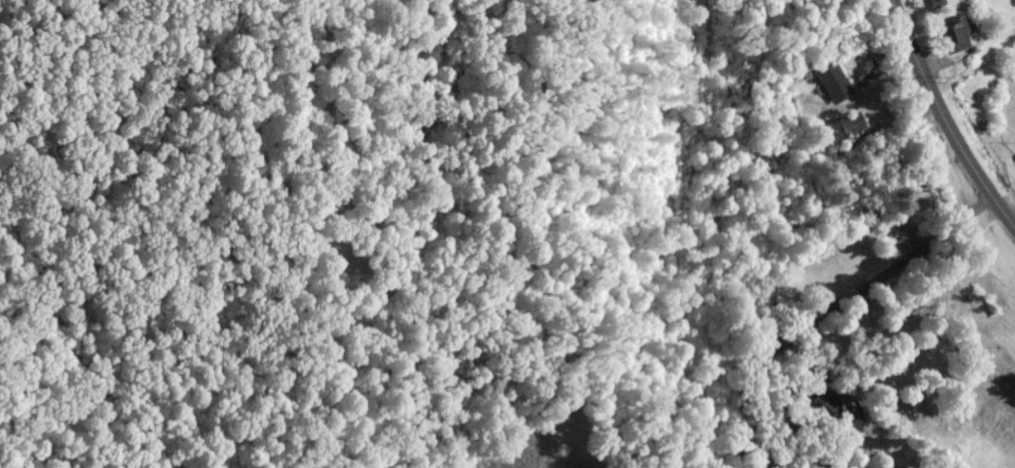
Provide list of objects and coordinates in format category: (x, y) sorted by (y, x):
building: (933, 4)
building: (953, 37)
building: (832, 83)
road: (944, 119)
building: (846, 129)

